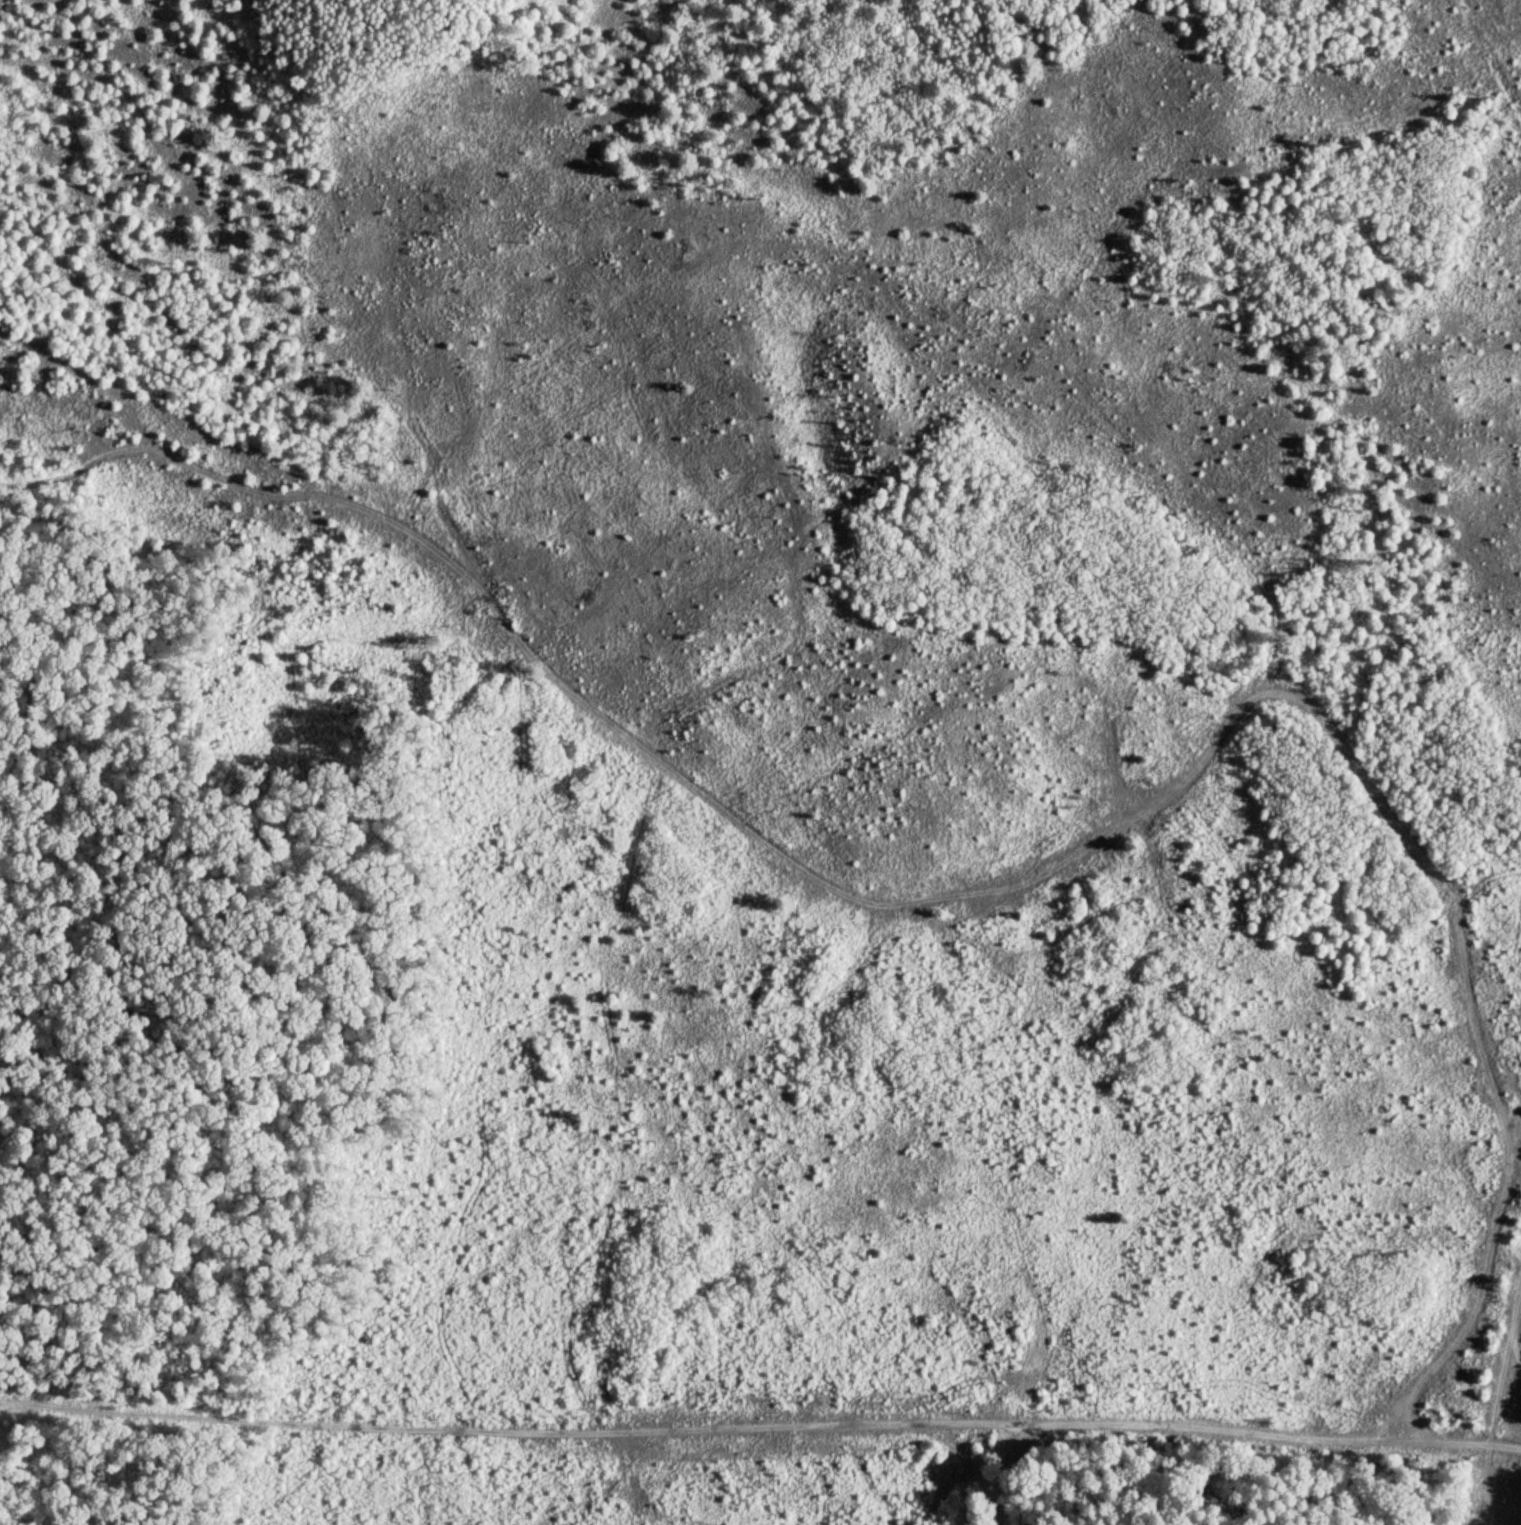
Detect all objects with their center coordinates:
road: (760, 1431)
road: (999, 1477)
road: (1519, 1515)

